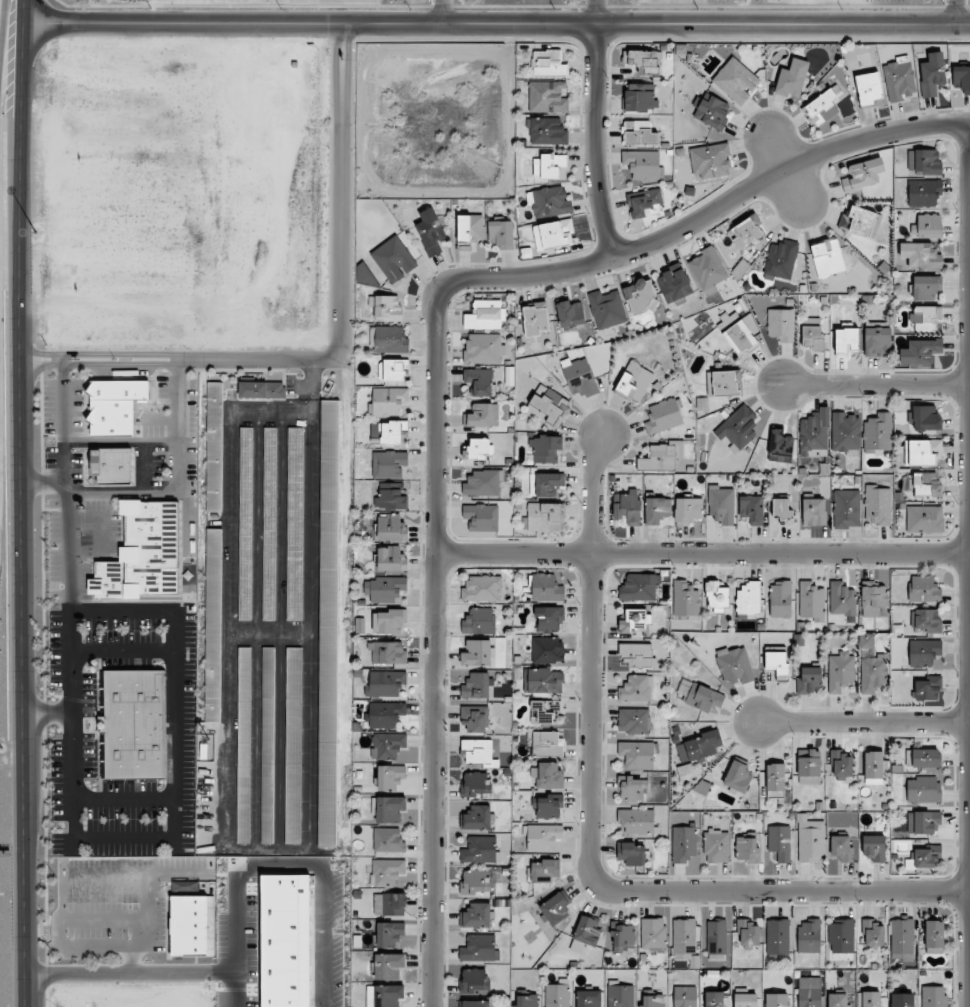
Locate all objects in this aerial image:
road: (441, 11)
road: (594, 12)
road: (954, 12)
road: (497, 23)
road: (342, 32)
road: (341, 42)
building: (643, 60)
building: (548, 63)
building: (932, 74)
building: (792, 78)
building: (962, 78)
building: (899, 79)
building: (736, 80)
building: (869, 90)
building: (547, 97)
building: (640, 97)
building: (822, 107)
building: (712, 111)
building: (546, 131)
building: (639, 133)
road: (594, 141)
building: (710, 161)
building: (924, 161)
building: (548, 165)
building: (862, 174)
road: (0, 181)
building: (924, 192)
building: (548, 201)
building: (645, 203)
road: (706, 216)
building: (860, 222)
building: (927, 226)
building: (430, 231)
building: (469, 231)
building: (747, 231)
building: (501, 234)
building: (553, 234)
building: (920, 255)
building: (827, 258)
building: (394, 259)
building: (781, 260)
building: (708, 269)
building: (675, 285)
building: (926, 287)
road: (342, 296)
building: (640, 296)
building: (387, 307)
building: (607, 309)
building: (570, 314)
building: (485, 315)
building: (535, 318)
building: (781, 324)
building: (812, 333)
building: (737, 334)
building: (390, 339)
building: (846, 339)
building: (877, 341)
building: (484, 349)
building: (920, 351)
road: (126, 359)
road: (178, 359)
building: (393, 370)
building: (579, 377)
building: (479, 381)
building: (635, 381)
road: (877, 381)
building: (723, 382)
building: (262, 390)
building: (389, 400)
building: (115, 406)
building: (548, 406)
building: (479, 415)
building: (663, 416)
building: (926, 418)
road: (162, 419)
road: (180, 424)
building: (738, 428)
building: (845, 431)
building: (814, 434)
road: (122, 442)
building: (214, 446)
building: (780, 446)
building: (478, 448)
building: (545, 449)
building: (922, 452)
building: (662, 456)
building: (388, 464)
building: (112, 466)
building: (482, 483)
road: (43, 484)
building: (545, 484)
building: (927, 485)
road: (124, 490)
building: (391, 496)
road: (22, 503)
building: (721, 504)
road: (967, 504)
building: (877, 505)
road: (310, 506)
building: (628, 508)
building: (846, 508)
building: (752, 509)
building: (781, 509)
building: (657, 510)
building: (688, 510)
building: (814, 512)
building: (481, 516)
building: (544, 517)
road: (189, 519)
building: (924, 519)
road: (100, 520)
building: (245, 523)
building: (269, 523)
building: (295, 523)
building: (391, 528)
road: (702, 551)
building: (142, 554)
building: (391, 559)
building: (639, 587)
building: (385, 588)
building: (482, 588)
building: (546, 588)
building: (923, 589)
building: (716, 596)
building: (748, 597)
building: (685, 599)
building: (780, 599)
building: (841, 599)
building: (873, 599)
building: (812, 602)
road: (70, 603)
road: (123, 611)
building: (549, 619)
building: (927, 620)
building: (479, 621)
building: (634, 621)
building: (389, 622)
building: (328, 623)
building: (213, 624)
building: (866, 640)
road: (434, 648)
road: (123, 649)
building: (547, 649)
building: (387, 652)
building: (923, 652)
building: (477, 653)
building: (868, 653)
building: (636, 655)
road: (593, 661)
building: (777, 663)
building: (735, 666)
building: (840, 672)
building: (872, 673)
building: (543, 680)
building: (809, 680)
building: (385, 683)
building: (477, 686)
building: (927, 688)
building: (636, 689)
building: (699, 695)
road: (48, 711)
building: (545, 712)
building: (385, 714)
building: (474, 717)
building: (633, 721)
road: (861, 721)
building: (135, 724)
road: (176, 733)
building: (547, 743)
building: (244, 745)
building: (268, 745)
building: (293, 745)
building: (387, 745)
building: (698, 746)
building: (478, 752)
building: (636, 754)
building: (924, 757)
building: (841, 764)
building: (809, 766)
building: (873, 768)
building: (548, 775)
building: (737, 776)
building: (390, 777)
building: (775, 780)
building: (475, 784)
building: (631, 788)
building: (923, 789)
road: (124, 799)
building: (549, 806)
building: (388, 809)
building: (477, 818)
building: (636, 821)
building: (925, 822)
building: (542, 837)
road: (124, 838)
building: (810, 839)
building: (388, 840)
building: (779, 842)
building: (683, 844)
building: (716, 845)
building: (747, 847)
building: (874, 847)
building: (842, 848)
building: (479, 849)
building: (631, 853)
building: (926, 856)
building: (544, 870)
building: (387, 871)
building: (474, 881)
building: (185, 885)
road: (782, 889)
building: (389, 904)
building: (555, 908)
building: (475, 915)
building: (193, 926)
building: (653, 932)
building: (585, 933)
building: (748, 933)
building: (389, 934)
building: (809, 935)
building: (841, 935)
building: (873, 935)
building: (684, 936)
building: (777, 936)
building: (934, 936)
building: (621, 937)
building: (716, 937)
building: (902, 939)
building: (478, 948)
building: (389, 967)
road: (175, 978)
building: (474, 980)
building: (809, 992)
building: (557, 994)
building: (384, 995)
building: (620, 996)
building: (684, 996)
building: (933, 996)
building: (589, 998)
building: (714, 999)
building: (871, 999)
building: (745, 1000)
building: (777, 1000)
building: (837, 1000)
building: (902, 1000)
building: (527, 1001)
building: (653, 1001)
building: (474, 1003)

